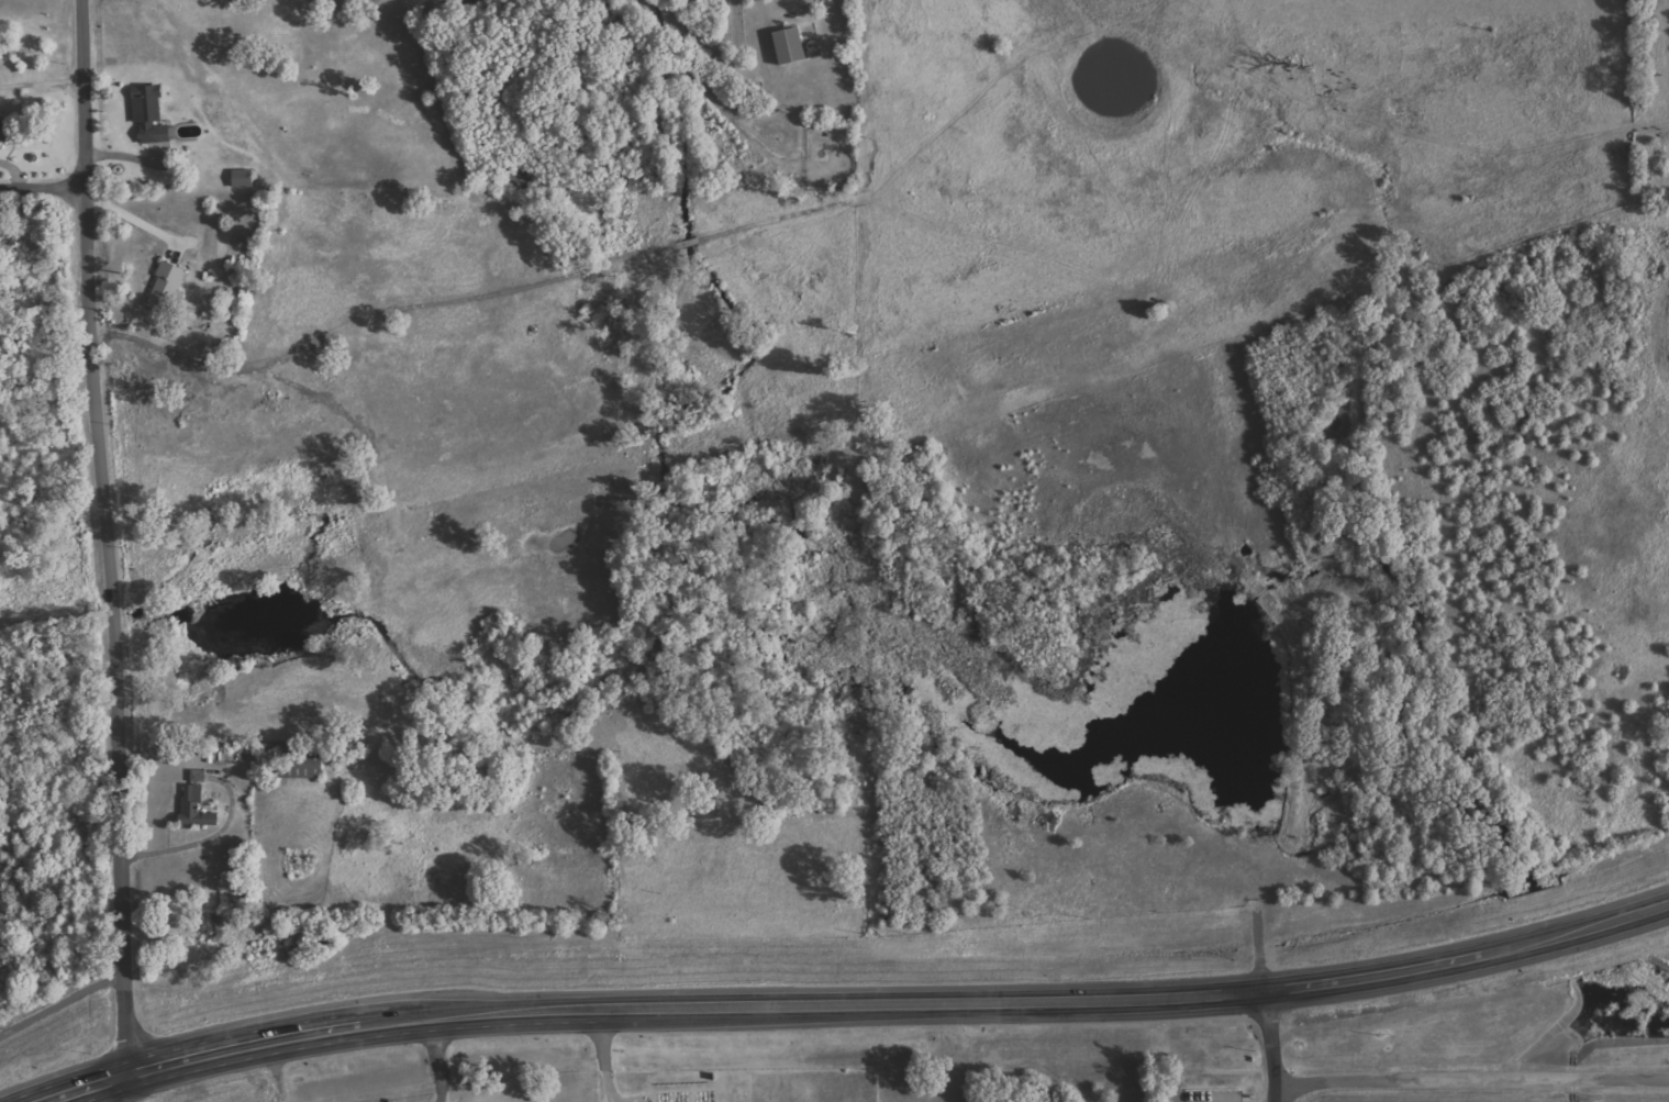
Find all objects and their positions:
building: (792, 46)
road: (82, 96)
building: (152, 113)
building: (3, 131)
building: (244, 178)
road: (42, 190)
building: (167, 287)
road: (114, 645)
building: (304, 765)
building: (199, 776)
building: (197, 809)
road: (1138, 1000)
road: (496, 1013)
road: (1272, 1037)
road: (216, 1051)
road: (1464, 1081)

